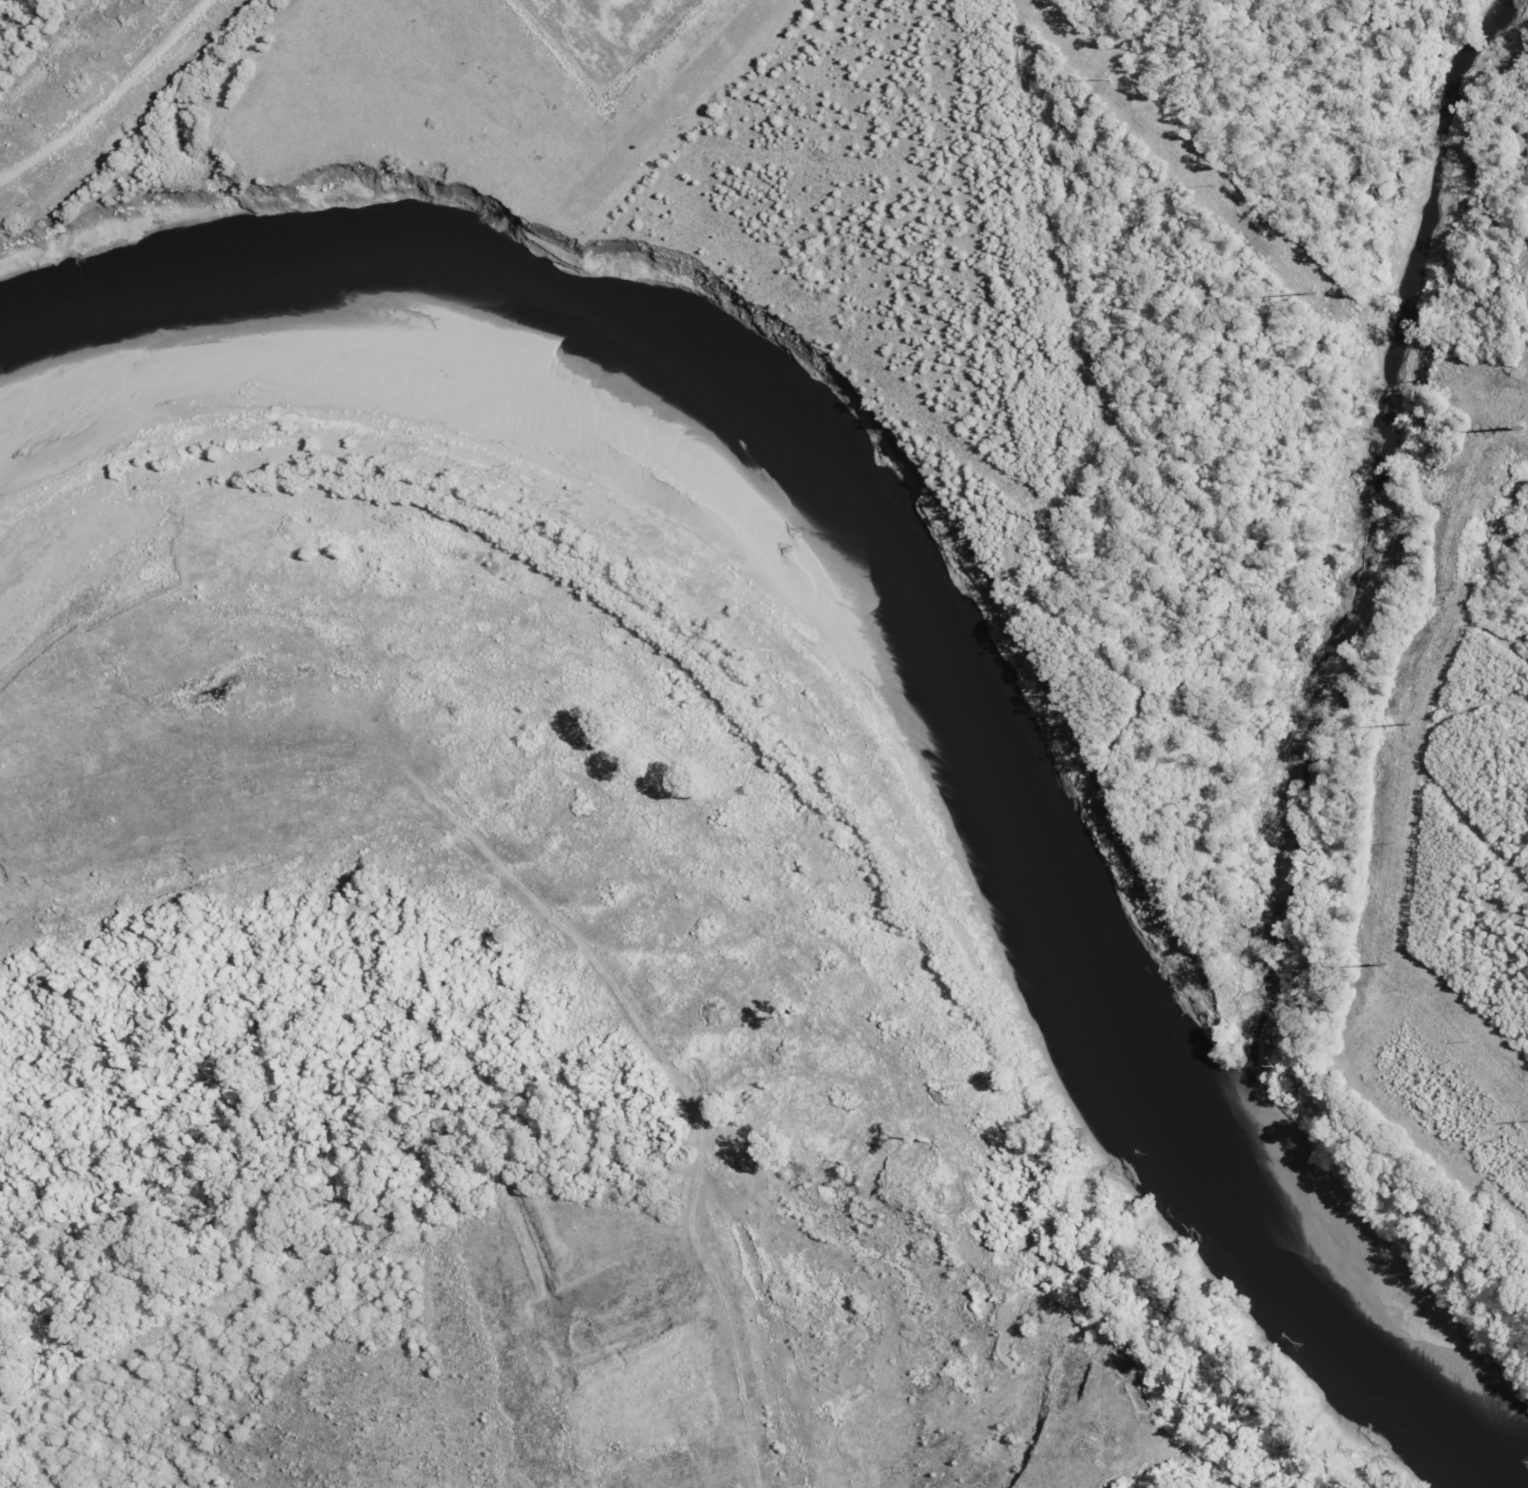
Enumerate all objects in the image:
power tower: (1521, 430)
river: (873, 686)
power tower: (1407, 724)
power tower: (1382, 964)
road: (1035, 1487)

